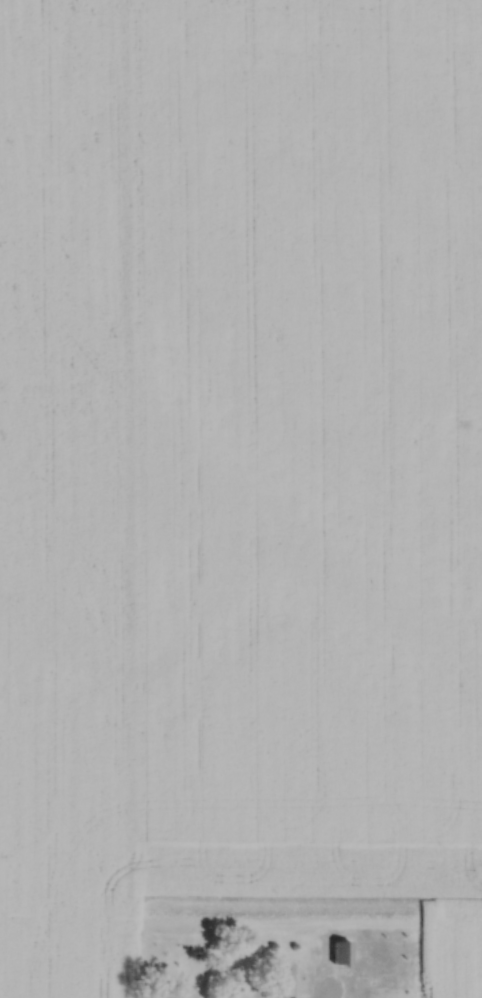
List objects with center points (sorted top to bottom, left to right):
crop: (239, 478)
building: (342, 951)
road: (326, 994)
building: (284, 996)

